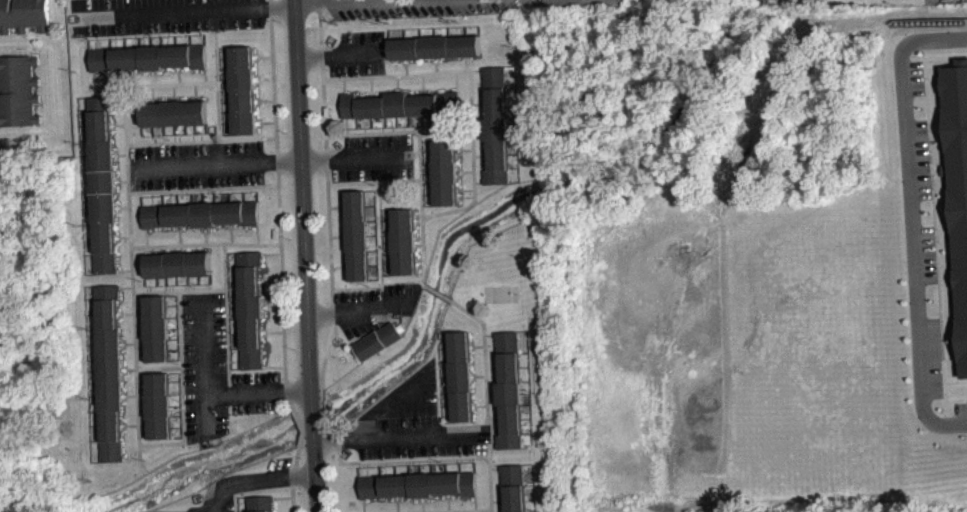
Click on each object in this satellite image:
road: (305, 0)
building: (822, 1)
parking lot: (942, 1)
road: (948, 1)
parking lot: (459, 8)
road: (182, 11)
building: (24, 15)
parking lot: (163, 16)
road: (215, 20)
road: (84, 26)
building: (434, 46)
road: (257, 53)
parking lot: (356, 53)
road: (338, 54)
road: (261, 56)
building: (148, 57)
road: (464, 58)
road: (408, 61)
road: (434, 62)
road: (913, 63)
road: (85, 64)
road: (406, 64)
road: (465, 64)
road: (435, 67)
road: (180, 68)
road: (156, 72)
road: (178, 72)
road: (406, 74)
road: (153, 75)
road: (205, 75)
road: (259, 78)
road: (266, 78)
road: (456, 79)
road: (421, 84)
road: (344, 85)
road: (100, 86)
road: (396, 86)
road: (401, 87)
road: (370, 88)
road: (173, 89)
road: (195, 89)
building: (243, 90)
road: (425, 90)
building: (19, 91)
road: (152, 91)
road: (374, 92)
road: (174, 96)
road: (195, 96)
road: (153, 98)
road: (264, 100)
road: (482, 100)
road: (258, 102)
road: (480, 103)
building: (400, 104)
road: (471, 110)
building: (174, 112)
road: (219, 113)
road: (124, 114)
road: (268, 122)
road: (403, 122)
road: (413, 122)
road: (261, 123)
road: (434, 123)
road: (364, 124)
road: (382, 124)
road: (391, 124)
road: (346, 126)
building: (495, 126)
road: (470, 131)
road: (416, 132)
road: (426, 143)
road: (326, 145)
road: (461, 149)
road: (467, 149)
road: (484, 152)
road: (481, 155)
road: (355, 157)
parking lot: (371, 157)
road: (426, 157)
road: (213, 163)
parking lot: (195, 165)
road: (427, 166)
road: (940, 170)
building: (444, 171)
road: (468, 171)
road: (919, 171)
road: (462, 172)
road: (427, 181)
building: (102, 184)
road: (428, 187)
road: (203, 188)
road: (466, 190)
road: (372, 193)
building: (958, 193)
road: (466, 195)
road: (428, 201)
road: (342, 202)
road: (338, 205)
road: (124, 206)
road: (380, 206)
road: (119, 207)
road: (464, 207)
road: (386, 212)
building: (201, 213)
road: (419, 214)
road: (373, 215)
road: (933, 219)
road: (419, 222)
road: (374, 223)
road: (910, 223)
road: (230, 226)
road: (179, 229)
road: (387, 229)
road: (424, 230)
road: (205, 231)
road: (343, 233)
road: (231, 234)
road: (258, 234)
building: (357, 234)
road: (387, 234)
road: (340, 235)
road: (119, 236)
road: (180, 236)
road: (420, 236)
road: (124, 237)
road: (146, 237)
road: (206, 237)
building: (404, 240)
road: (420, 244)
road: (154, 245)
road: (376, 245)
road: (182, 247)
road: (203, 247)
road: (174, 248)
road: (196, 248)
parking lot: (927, 248)
road: (160, 249)
road: (152, 250)
road: (387, 250)
road: (273, 253)
road: (374, 254)
road: (301, 256)
road: (387, 256)
road: (230, 257)
road: (282, 257)
road: (421, 259)
building: (177, 263)
road: (224, 265)
road: (341, 265)
road: (421, 266)
road: (344, 268)
road: (124, 269)
road: (388, 271)
road: (232, 273)
road: (376, 276)
road: (264, 279)
road: (273, 279)
road: (209, 281)
road: (187, 282)
road: (192, 282)
road: (165, 283)
road: (170, 283)
road: (150, 284)
road: (126, 286)
road: (232, 290)
road: (201, 291)
road: (437, 291)
road: (232, 300)
road: (172, 301)
road: (138, 303)
road: (269, 304)
road: (276, 305)
parking lot: (375, 307)
building: (251, 309)
road: (172, 310)
road: (139, 311)
road: (226, 312)
road: (360, 312)
road: (123, 313)
road: (233, 315)
road: (119, 316)
road: (172, 321)
road: (234, 322)
road: (139, 325)
building: (155, 327)
road: (333, 327)
road: (180, 328)
road: (276, 330)
road: (267, 331)
road: (140, 332)
road: (173, 333)
road: (489, 334)
road: (360, 336)
building: (379, 339)
road: (126, 342)
road: (173, 342)
road: (203, 343)
road: (235, 343)
road: (437, 344)
road: (472, 345)
road: (477, 345)
road: (124, 346)
road: (140, 347)
road: (341, 347)
road: (141, 354)
road: (174, 357)
road: (440, 358)
road: (136, 359)
road: (236, 360)
road: (192, 365)
road: (275, 365)
road: (441, 367)
road: (425, 368)
road: (492, 368)
road: (127, 369)
road: (416, 369)
road: (484, 370)
road: (495, 370)
parking lot: (218, 372)
building: (110, 373)
road: (126, 373)
road: (176, 374)
road: (474, 375)
road: (479, 375)
building: (459, 376)
road: (142, 380)
road: (142, 387)
road: (230, 388)
road: (426, 388)
road: (442, 388)
road: (176, 390)
building: (508, 390)
road: (233, 391)
road: (490, 393)
road: (494, 393)
road: (128, 395)
road: (443, 396)
road: (177, 398)
road: (127, 399)
road: (391, 400)
road: (143, 402)
road: (475, 404)
building: (159, 405)
road: (480, 405)
road: (426, 406)
road: (143, 409)
road: (177, 409)
road: (443, 417)
road: (178, 419)
road: (497, 419)
parking lot: (413, 422)
road: (498, 422)
road: (144, 423)
road: (128, 424)
road: (184, 426)
road: (125, 428)
road: (144, 431)
road: (490, 434)
road: (178, 435)
road: (399, 438)
road: (196, 440)
road: (493, 446)
road: (450, 456)
road: (361, 461)
road: (472, 463)
road: (457, 464)
road: (429, 465)
road: (436, 465)
road: (413, 466)
road: (385, 467)
road: (405, 467)
road: (495, 467)
road: (340, 478)
road: (247, 481)
building: (418, 484)
building: (513, 487)
road: (451, 496)
road: (282, 497)
road: (448, 499)
road: (397, 500)
road: (425, 500)
road: (492, 500)
road: (243, 501)
road: (236, 502)
building: (261, 503)
road: (422, 503)
road: (501, 503)
road: (475, 504)
road: (362, 505)
parking lot: (227, 506)
road: (397, 506)
road: (211, 507)
road: (456, 510)

